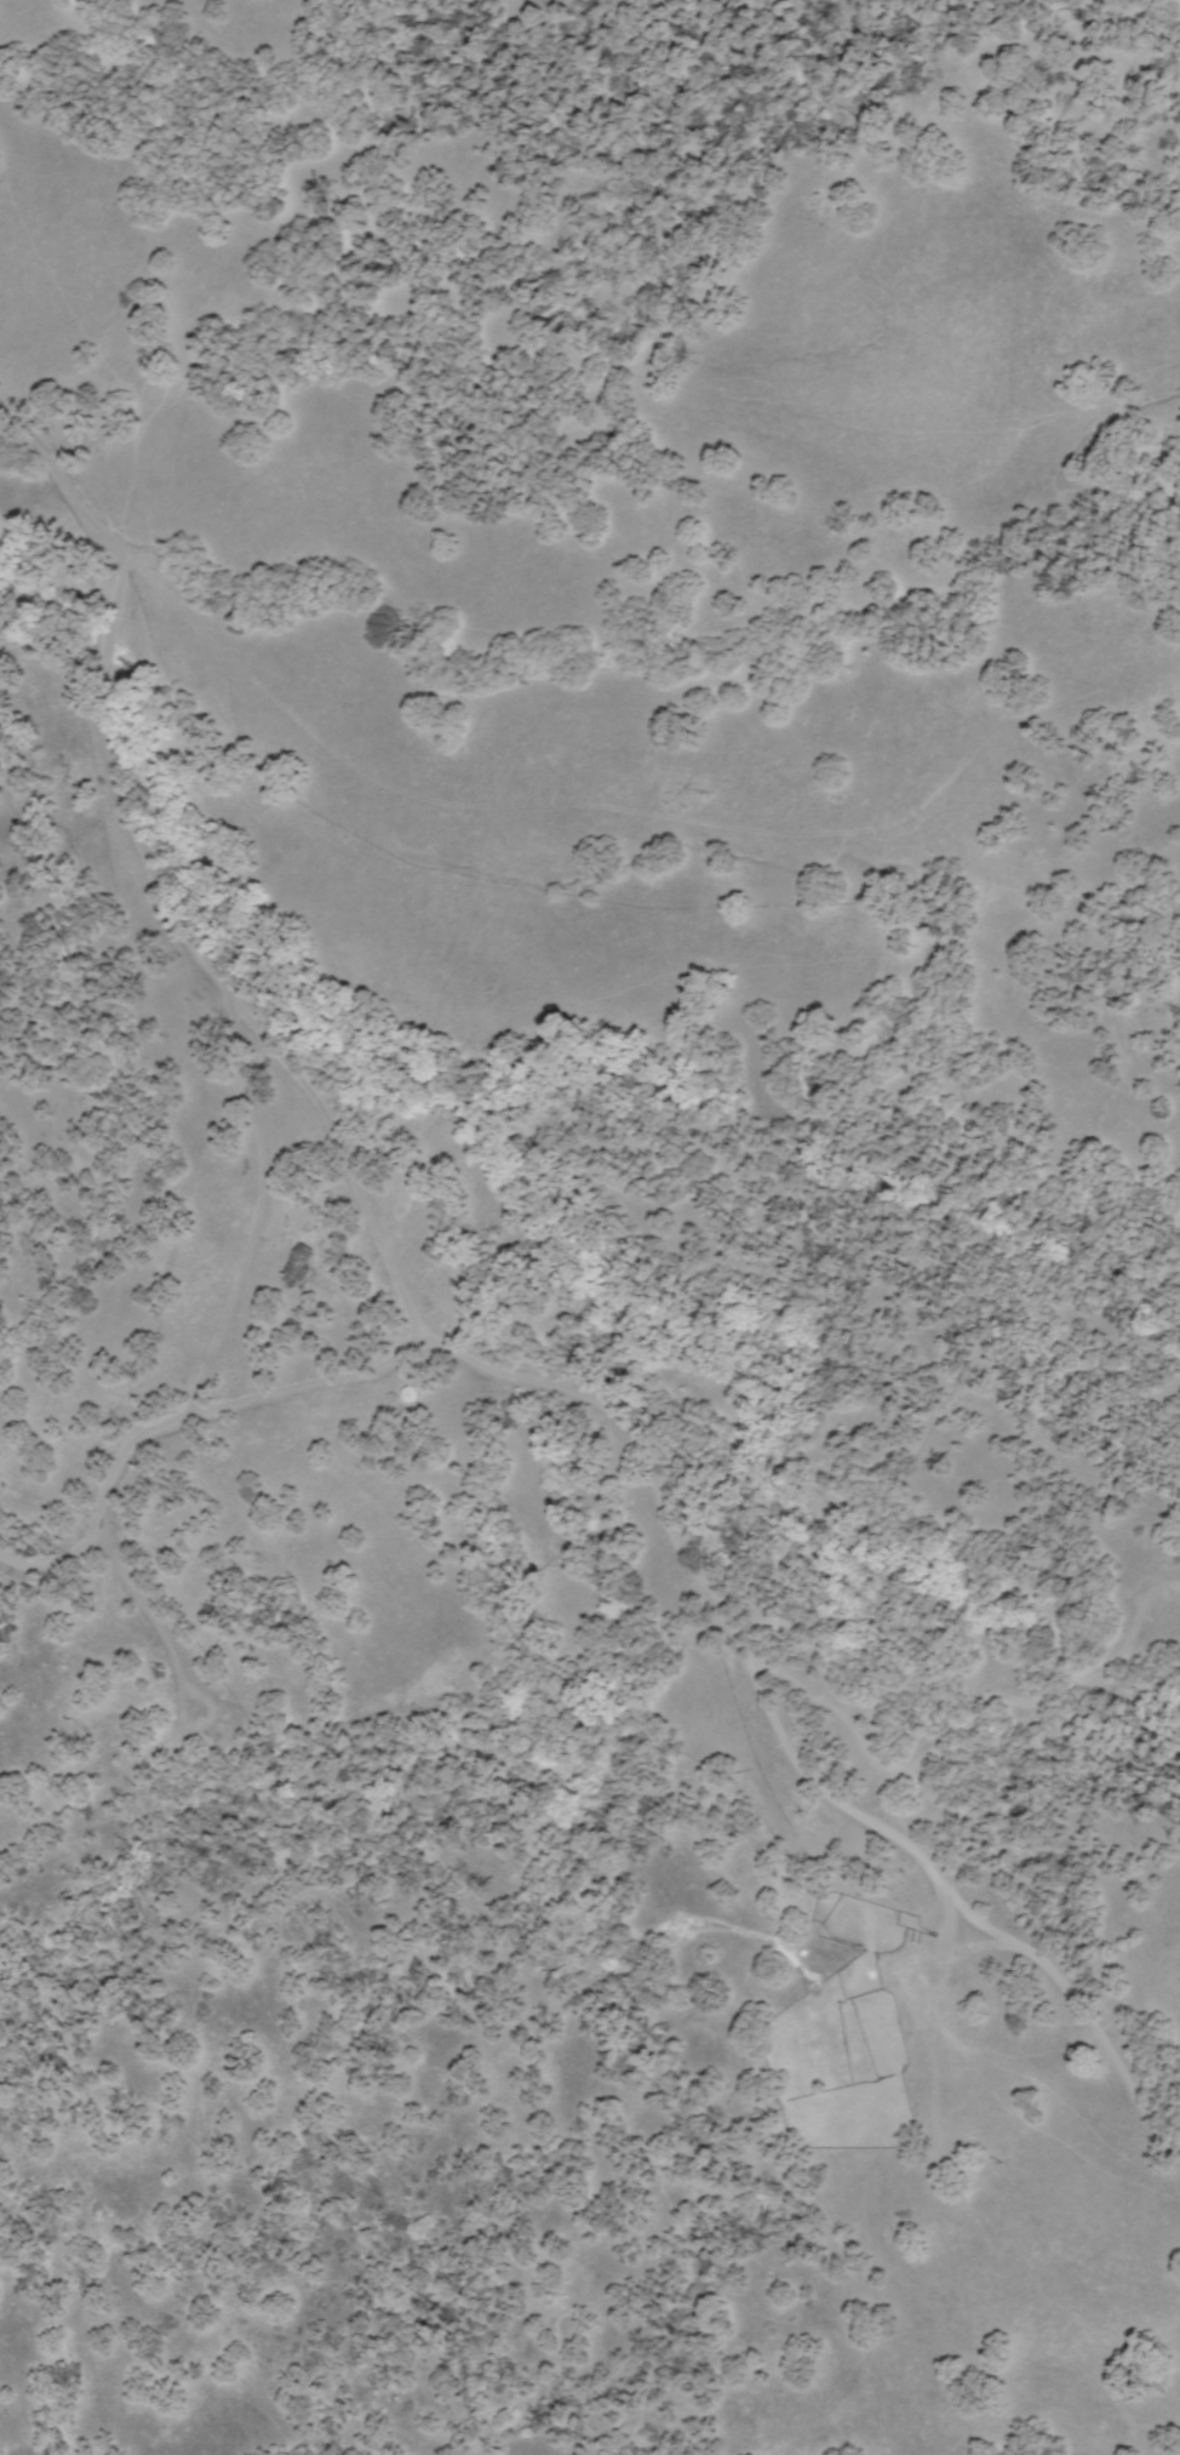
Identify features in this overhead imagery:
building: (292, 1264)
road: (323, 1388)
road: (108, 1517)

